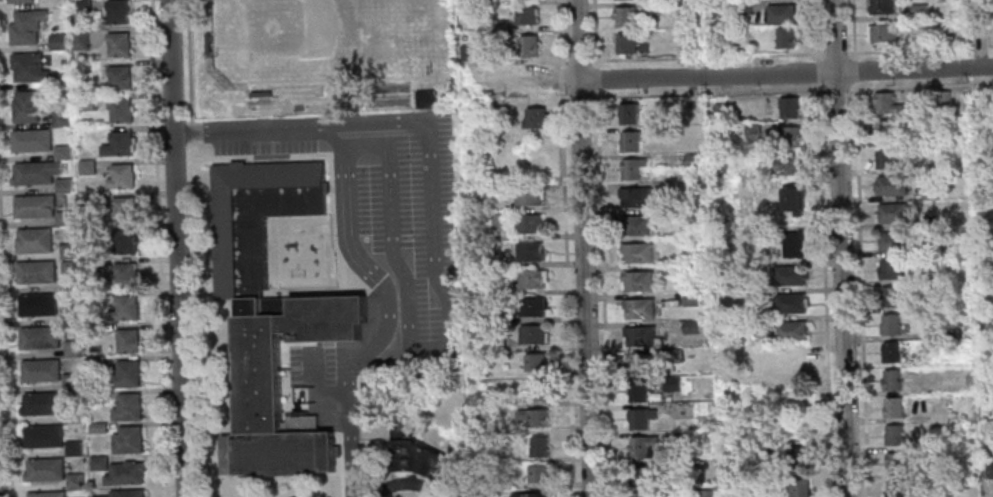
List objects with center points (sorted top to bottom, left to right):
building: (20, 1)
building: (940, 1)
building: (486, 2)
building: (990, 4)
building: (80, 6)
building: (655, 6)
building: (882, 6)
building: (743, 7)
building: (116, 11)
building: (919, 11)
building: (780, 13)
building: (525, 15)
building: (624, 16)
building: (26, 26)
building: (498, 26)
park: (288, 27)
road: (852, 29)
road: (817, 30)
road: (595, 33)
building: (883, 33)
road: (558, 34)
building: (786, 37)
building: (79, 39)
building: (57, 41)
building: (207, 43)
building: (626, 43)
building: (688, 43)
building: (118, 44)
building: (528, 45)
road: (871, 51)
building: (465, 52)
road: (837, 52)
building: (67, 54)
road: (707, 55)
road: (562, 60)
road: (578, 60)
road: (189, 62)
road: (516, 62)
building: (28, 67)
road: (855, 69)
road: (818, 71)
road: (785, 74)
building: (119, 77)
road: (596, 78)
building: (60, 79)
road: (546, 81)
road: (560, 82)
road: (921, 86)
road: (837, 90)
road: (692, 93)
building: (260, 94)
building: (423, 98)
building: (945, 98)
building: (85, 103)
building: (887, 103)
building: (27, 105)
building: (690, 105)
building: (717, 105)
building: (789, 107)
building: (121, 110)
building: (628, 114)
building: (60, 118)
building: (535, 118)
building: (496, 119)
road: (426, 122)
building: (752, 128)
building: (884, 130)
road: (191, 132)
building: (789, 136)
building: (31, 140)
building: (630, 141)
building: (118, 144)
building: (62, 152)
road: (331, 157)
building: (886, 158)
building: (691, 161)
building: (786, 165)
building: (87, 167)
building: (633, 168)
building: (34, 172)
building: (121, 176)
building: (891, 184)
building: (63, 185)
building: (929, 193)
building: (528, 195)
building: (635, 197)
building: (792, 199)
building: (87, 201)
building: (35, 206)
building: (121, 209)
building: (893, 213)
building: (674, 214)
building: (64, 218)
building: (929, 220)
building: (499, 221)
building: (528, 223)
building: (637, 224)
building: (89, 231)
building: (34, 240)
building: (903, 240)
building: (124, 242)
building: (792, 244)
road: (159, 248)
road: (175, 248)
road: (583, 248)
road: (840, 248)
building: (68, 251)
building: (529, 251)
building: (636, 252)
building: (491, 258)
building: (91, 264)
building: (889, 268)
building: (69, 269)
building: (716, 269)
building: (669, 270)
building: (36, 272)
building: (126, 274)
building: (791, 275)
building: (531, 279)
building: (638, 280)
road: (395, 284)
road: (861, 288)
road: (825, 289)
road: (603, 293)
building: (753, 295)
road: (566, 297)
building: (890, 297)
building: (690, 298)
building: (791, 303)
building: (37, 304)
building: (532, 306)
building: (639, 308)
building: (124, 309)
building: (69, 315)
building: (273, 316)
building: (494, 317)
road: (197, 318)
building: (990, 318)
building: (891, 323)
building: (691, 326)
building: (94, 330)
building: (791, 331)
building: (533, 334)
building: (642, 336)
building: (41, 337)
building: (127, 340)
building: (496, 342)
road: (5, 348)
building: (72, 349)
building: (891, 352)
building: (673, 354)
building: (95, 362)
building: (535, 362)
building: (637, 363)
building: (794, 364)
building: (41, 370)
building: (128, 373)
building: (893, 379)
building: (71, 382)
building: (671, 383)
building: (537, 390)
building: (639, 391)
road: (314, 397)
building: (50, 406)
building: (128, 407)
building: (894, 407)
building: (534, 416)
building: (641, 418)
building: (98, 428)
building: (894, 435)
building: (43, 436)
building: (682, 438)
building: (128, 440)
building: (540, 446)
building: (769, 446)
building: (644, 447)
building: (73, 448)
building: (415, 451)
road: (351, 455)
building: (800, 458)
road: (361, 460)
building: (99, 463)
building: (898, 464)
building: (677, 468)
building: (45, 469)
building: (990, 470)
building: (126, 473)
building: (539, 473)
building: (641, 475)
building: (75, 481)
road: (407, 483)
building: (798, 486)
building: (897, 488)
building: (126, 493)
building: (705, 493)
building: (47, 494)
building: (532, 495)
building: (640, 495)
building: (761, 495)
building: (486, 496)

